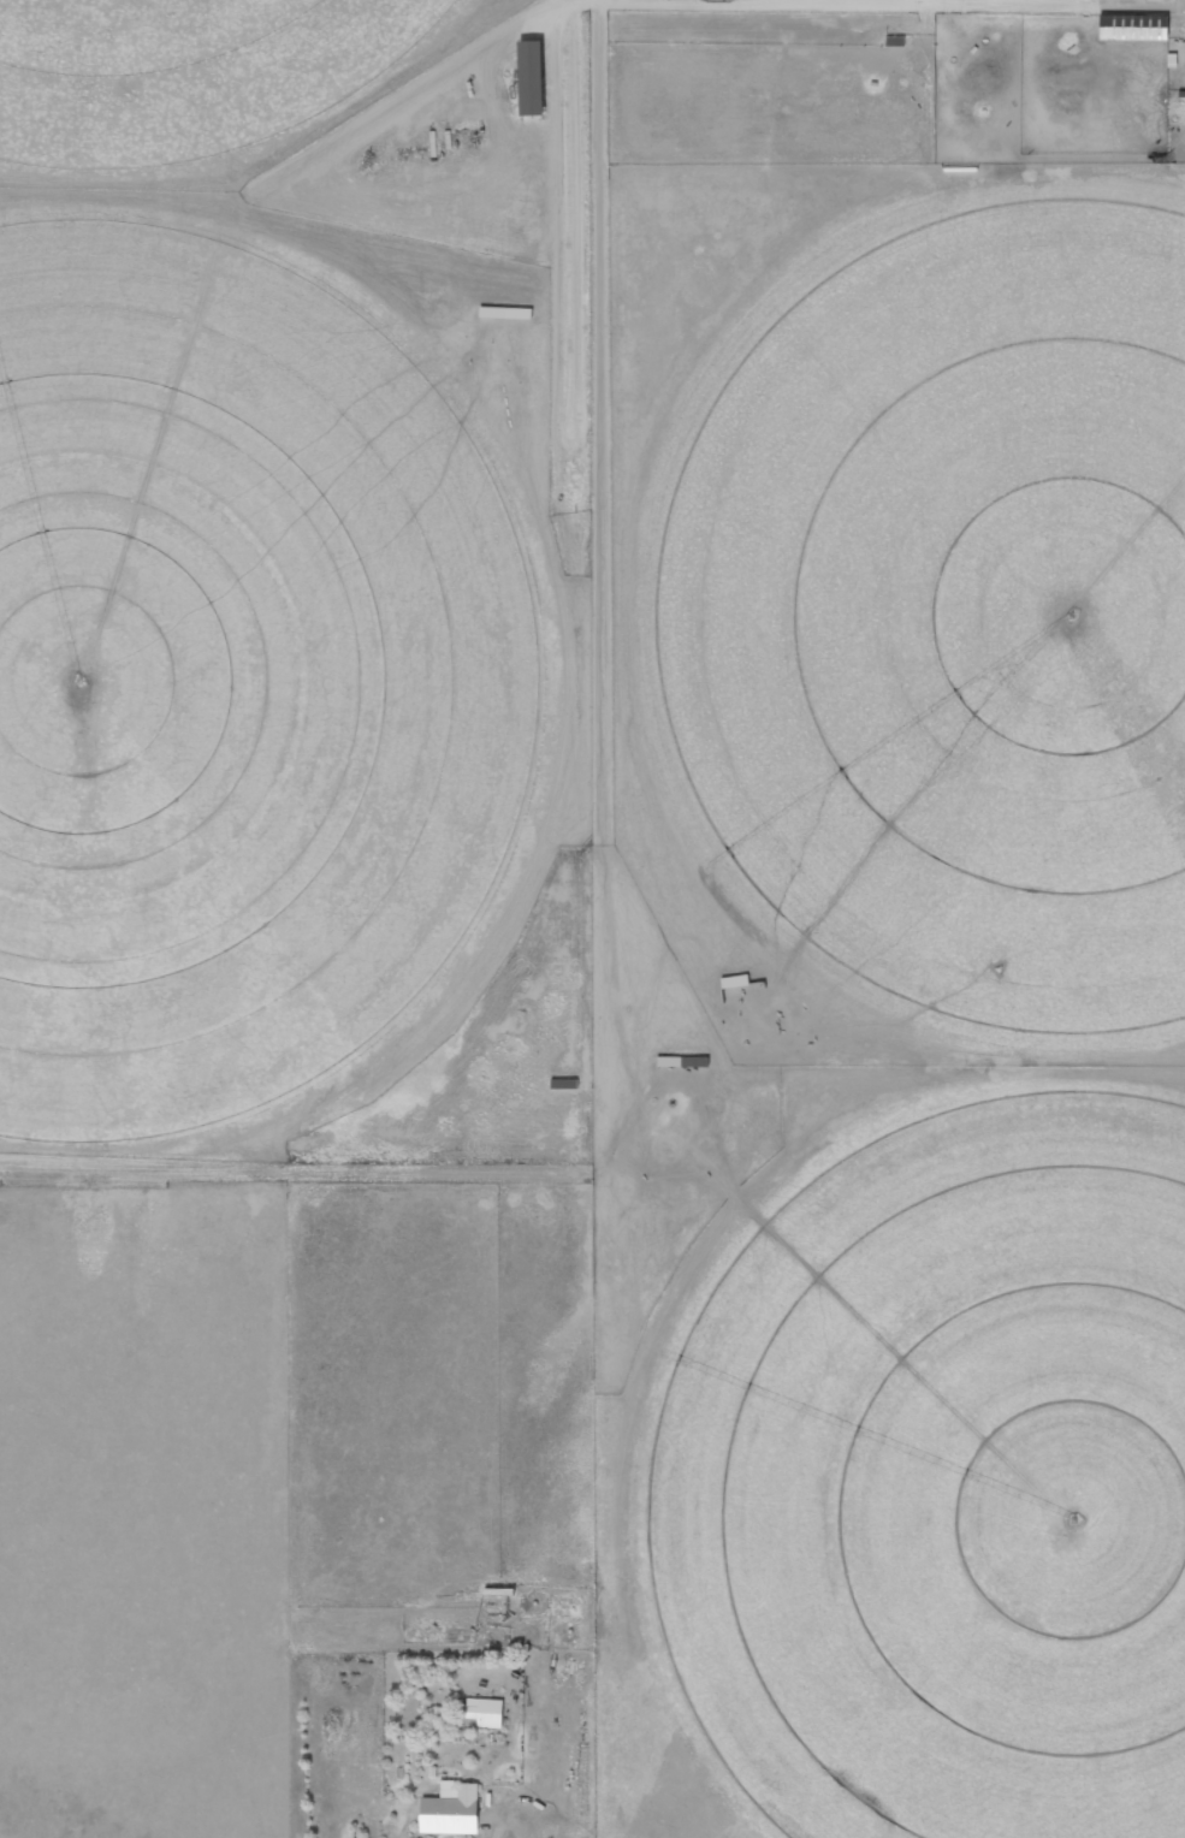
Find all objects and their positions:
building: (1133, 28)
crop: (188, 73)
building: (531, 78)
crop: (940, 616)
crop: (239, 677)
crop: (937, 1482)
building: (484, 1713)
building: (451, 1810)

